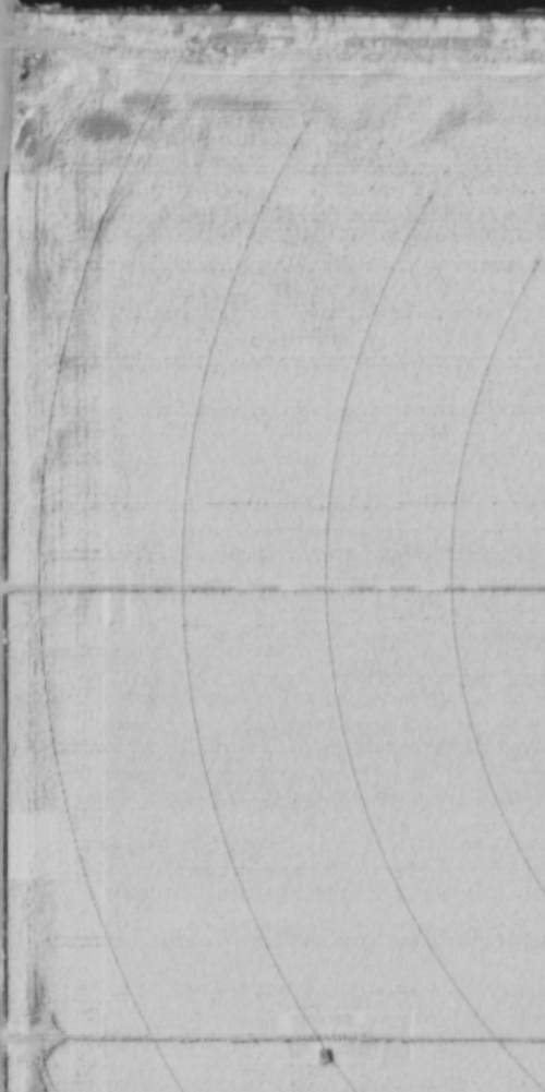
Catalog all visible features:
power tower: (516, 49)

